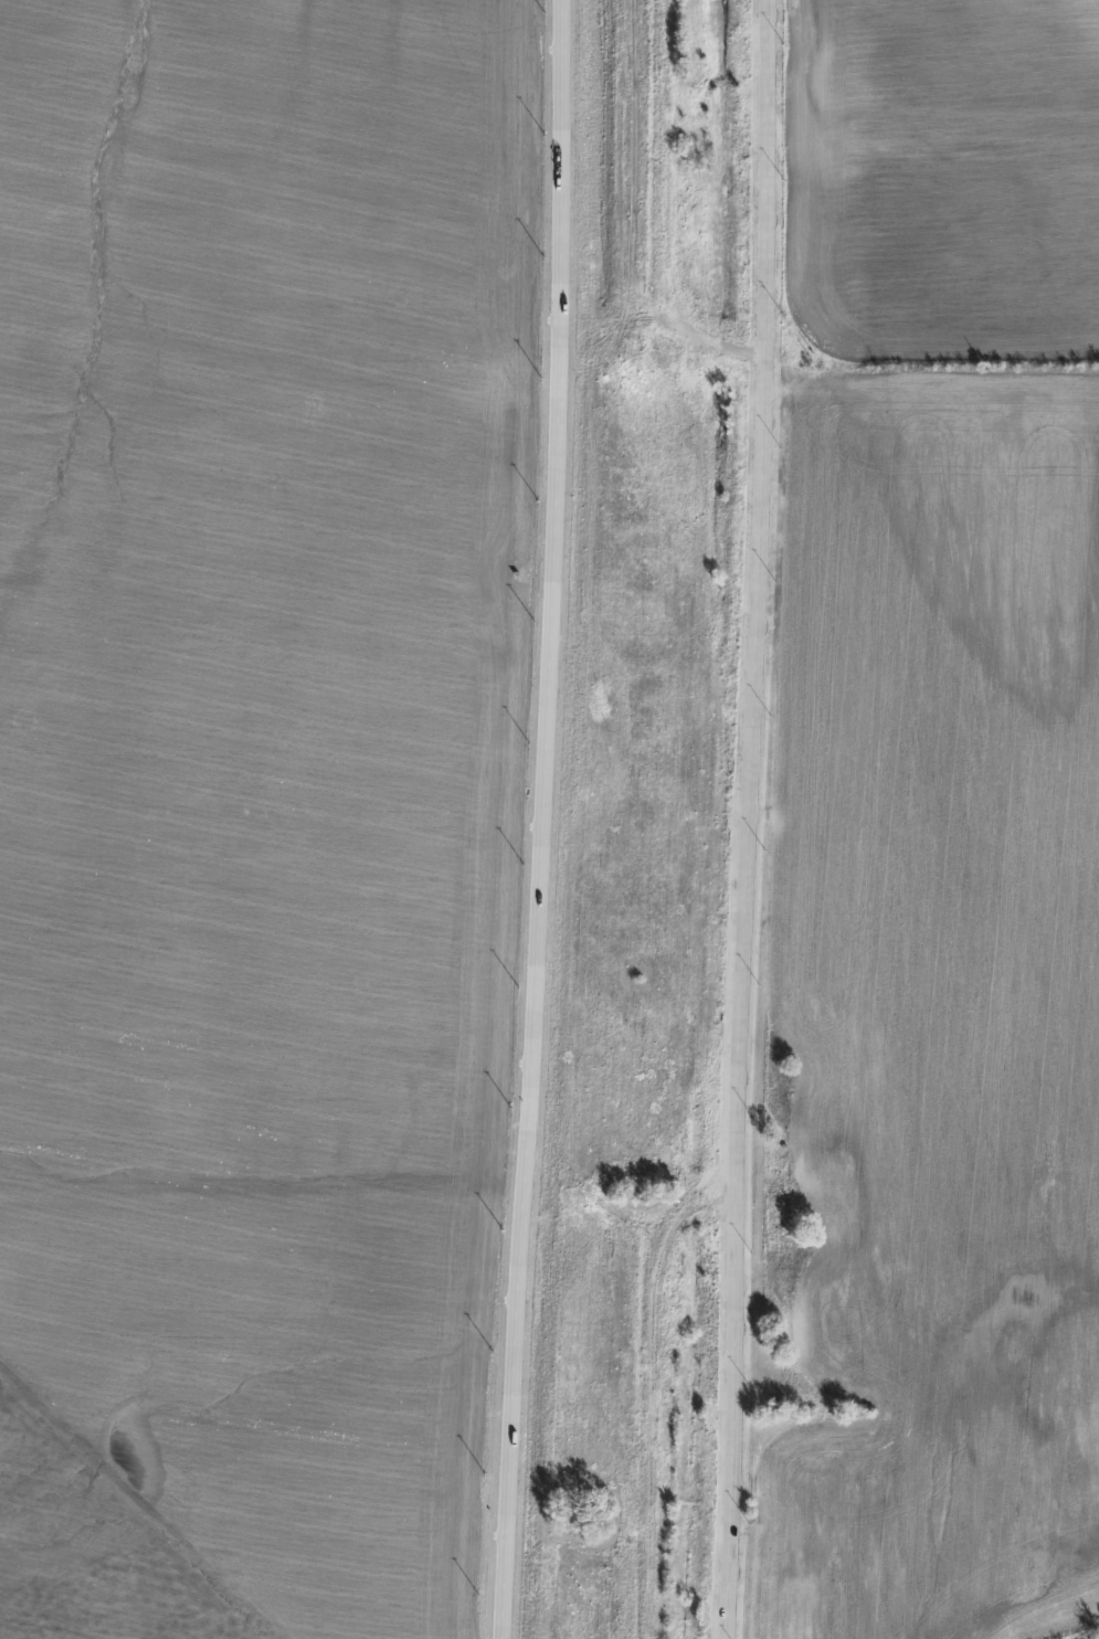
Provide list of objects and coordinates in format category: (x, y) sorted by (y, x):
crop: (228, 811)
road: (742, 818)
road: (541, 819)

